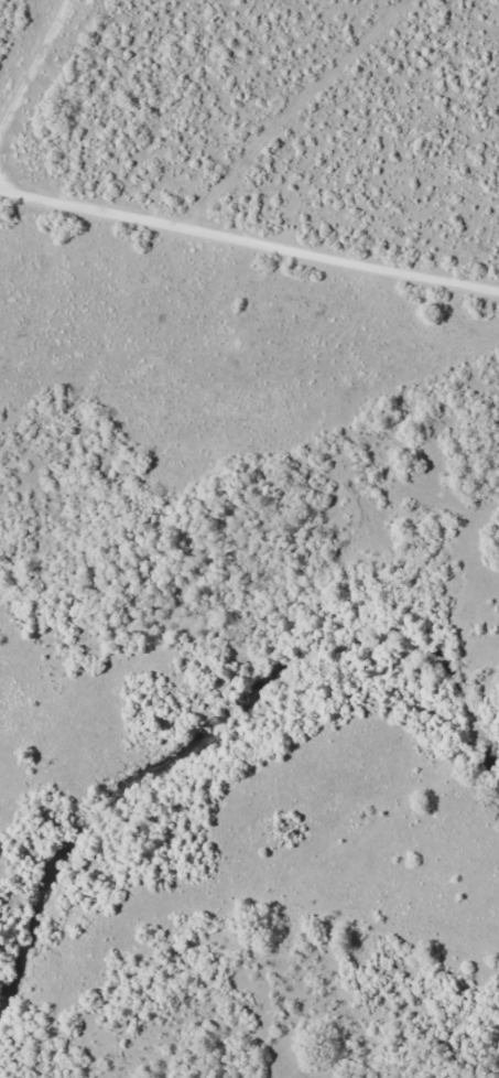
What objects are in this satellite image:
road: (250, 270)

